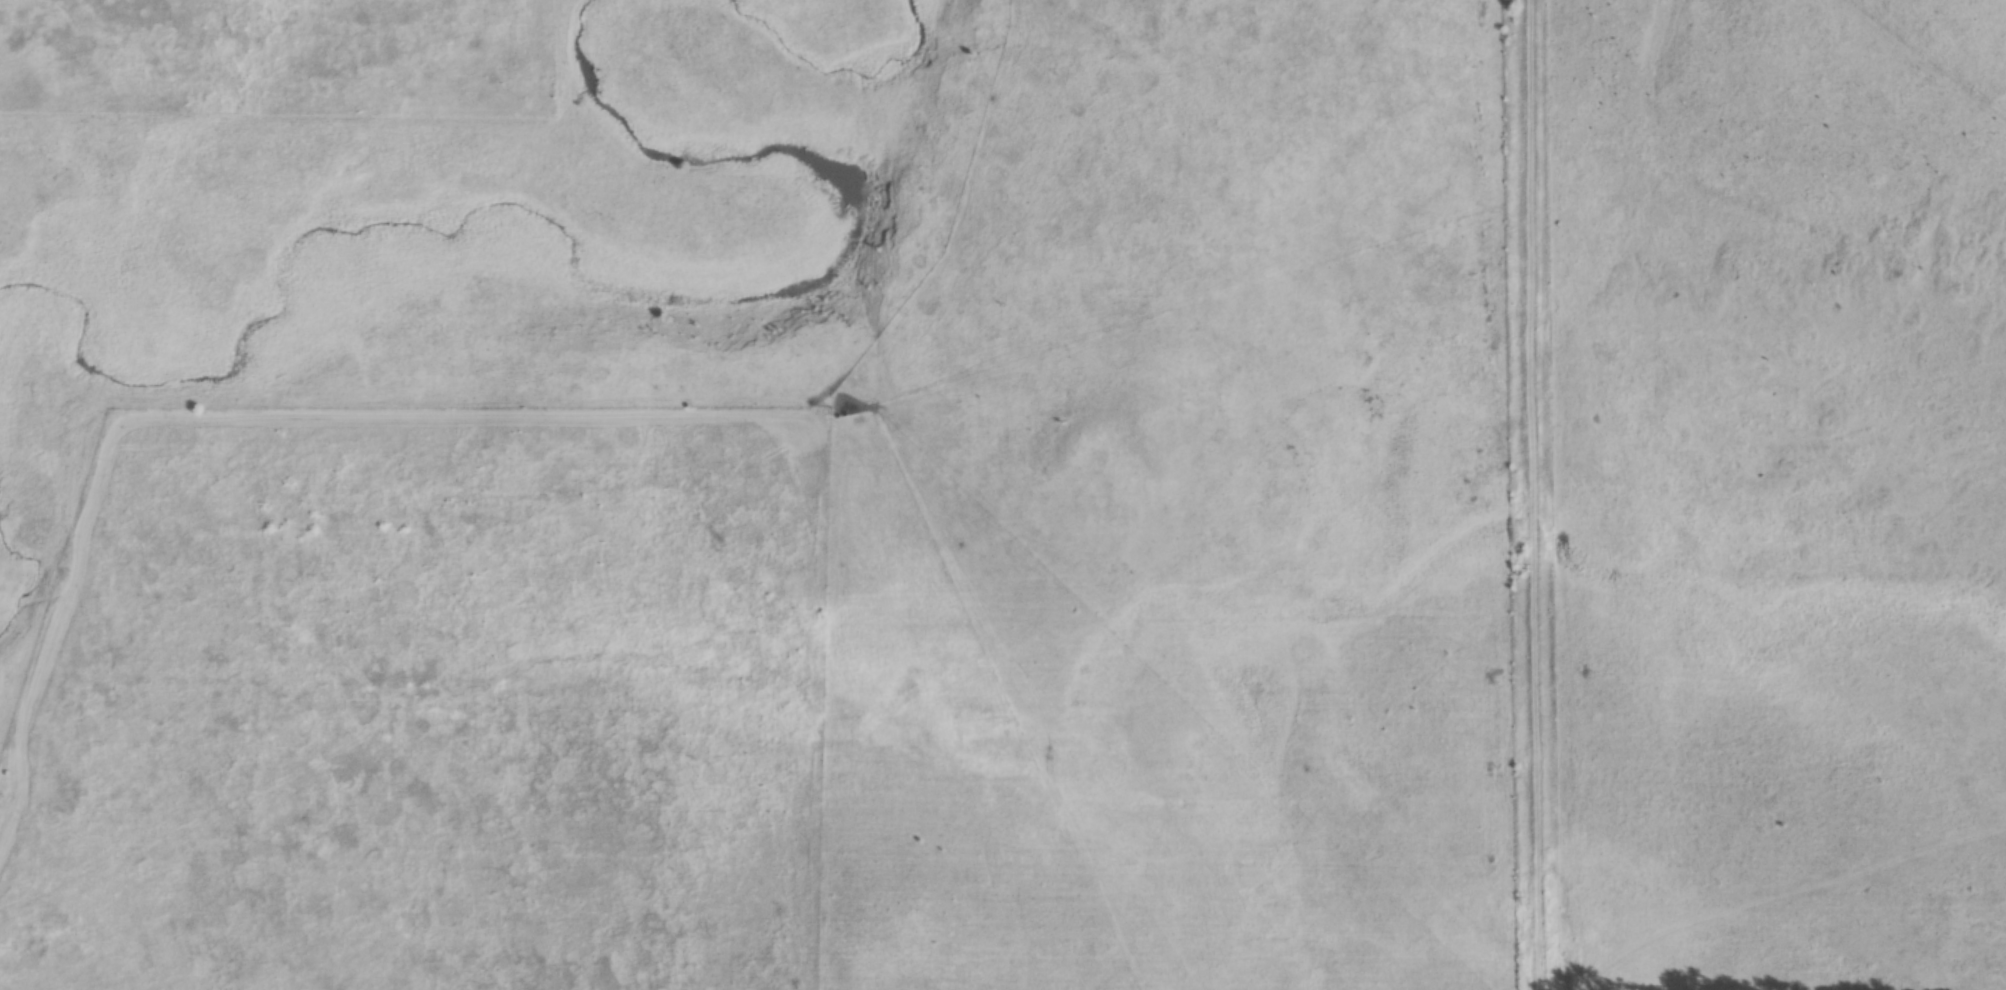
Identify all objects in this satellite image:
road: (1544, 494)

